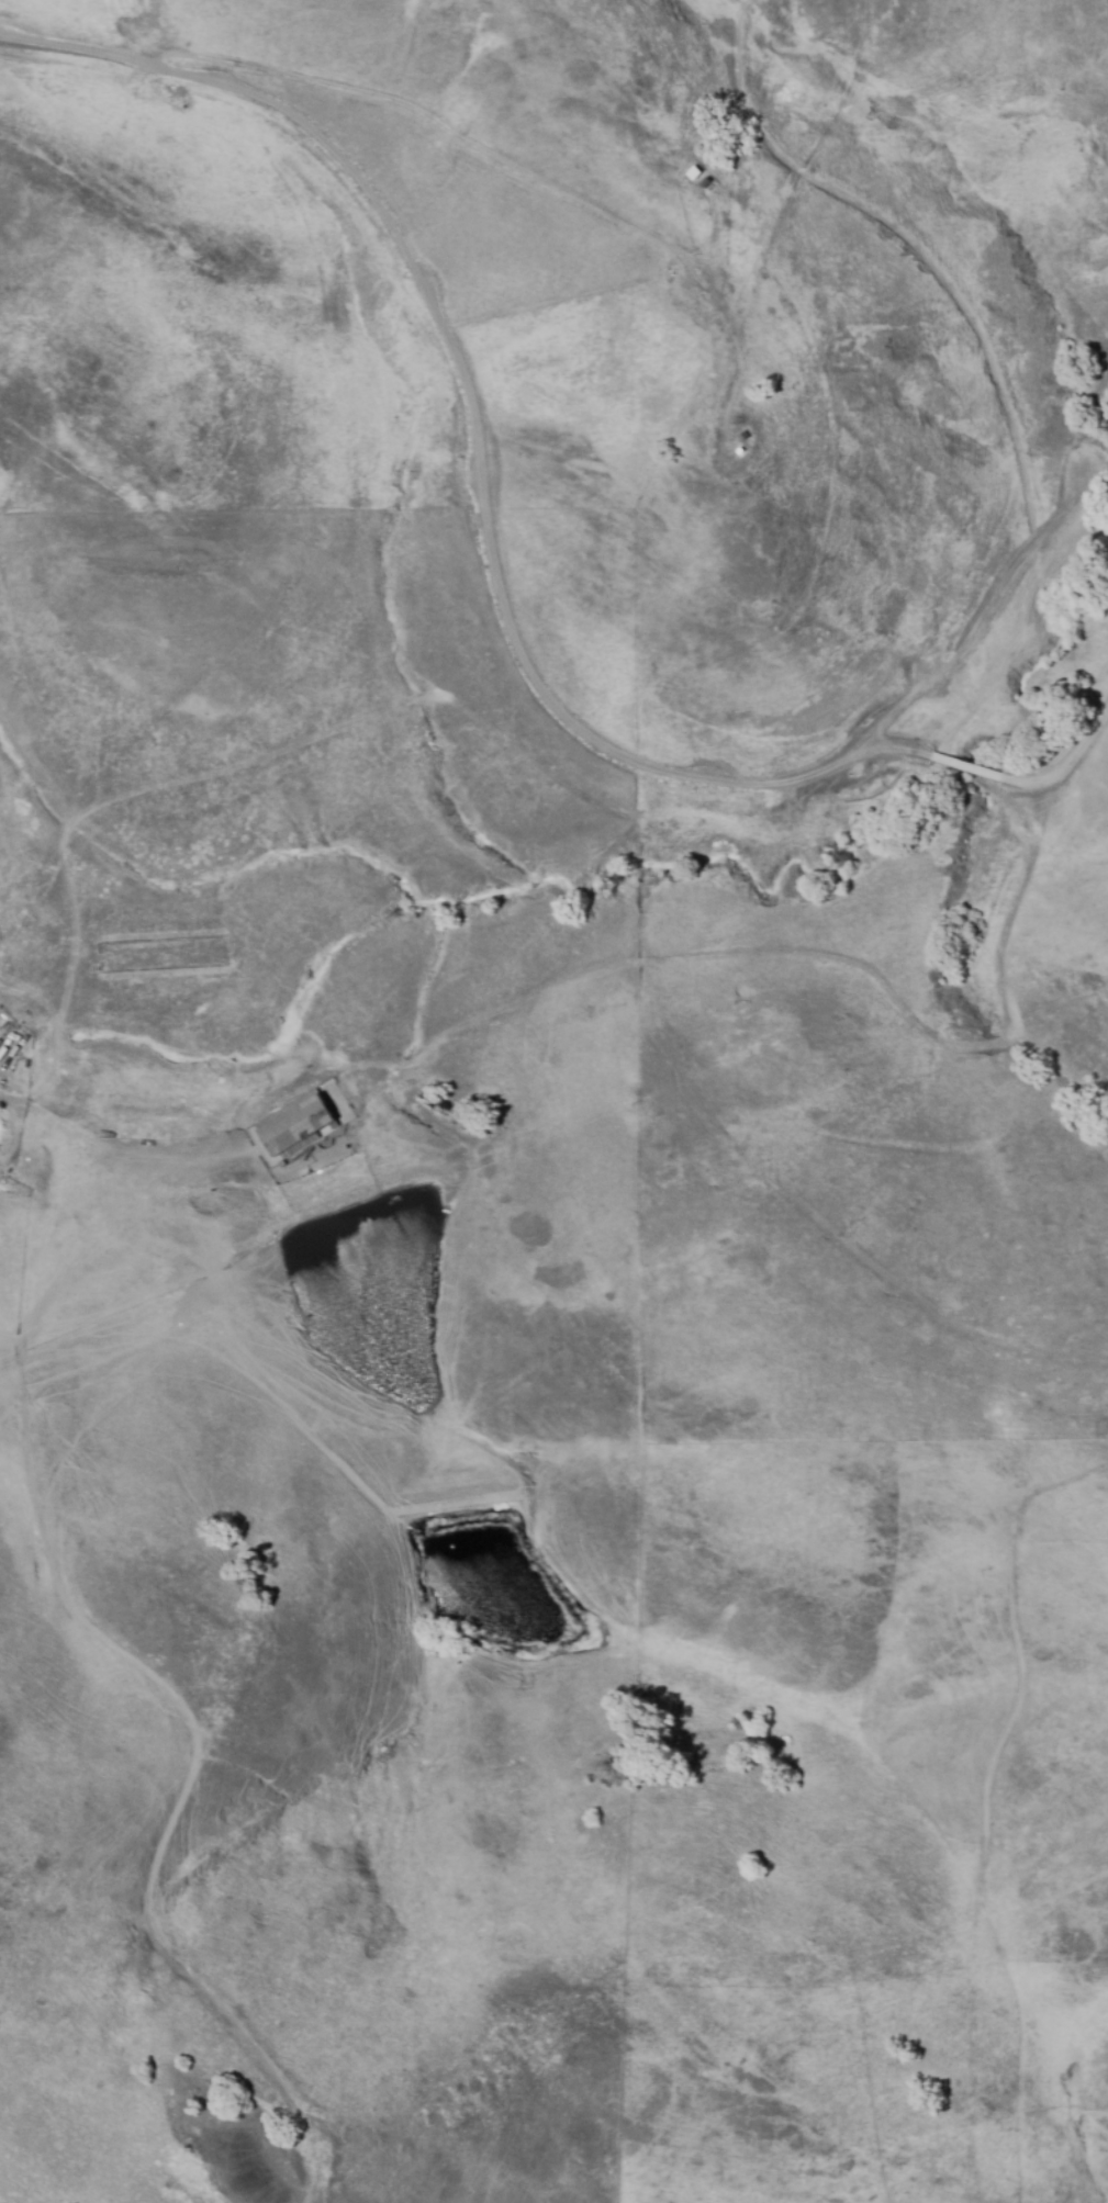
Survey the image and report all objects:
road: (462, 375)
building: (296, 1127)

